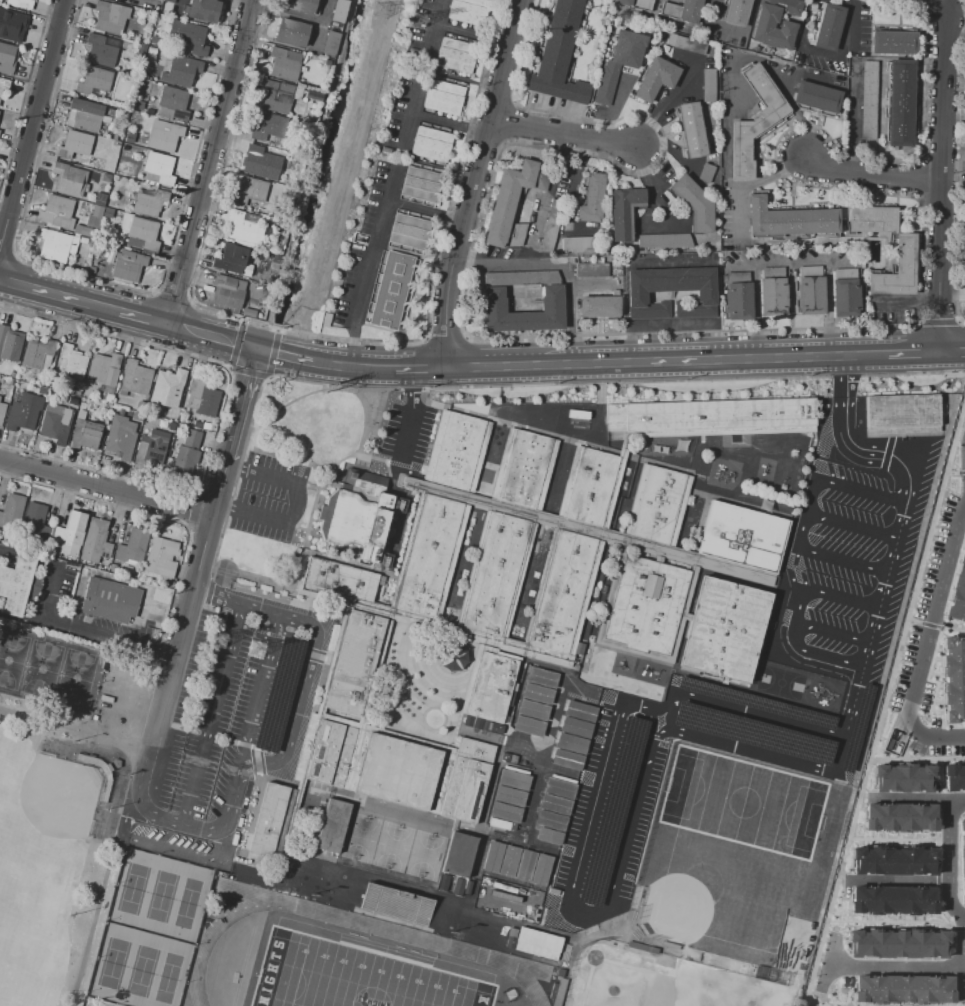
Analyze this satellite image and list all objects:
road: (929, 0)
road: (153, 1)
building: (168, 1)
road: (181, 1)
road: (934, 2)
building: (20, 4)
building: (635, 4)
building: (300, 5)
building: (791, 6)
building: (201, 10)
building: (340, 11)
power tower: (382, 11)
building: (468, 11)
building: (682, 11)
building: (736, 12)
road: (286, 15)
building: (110, 17)
power tower: (419, 21)
road: (320, 25)
building: (12, 26)
building: (827, 26)
building: (772, 28)
road: (729, 30)
road: (431, 31)
building: (290, 33)
road: (471, 33)
building: (189, 36)
building: (893, 42)
building: (331, 43)
building: (686, 44)
road: (842, 49)
building: (100, 52)
building: (559, 55)
building: (456, 56)
road: (734, 56)
building: (6, 57)
building: (619, 62)
building: (284, 64)
building: (181, 71)
building: (655, 78)
building: (94, 81)
building: (4, 85)
building: (708, 85)
building: (276, 97)
building: (444, 97)
building: (817, 97)
building: (869, 100)
building: (174, 102)
building: (900, 102)
building: (138, 105)
road: (669, 106)
road: (615, 107)
building: (86, 115)
road: (411, 115)
road: (449, 122)
building: (754, 122)
road: (853, 122)
road: (31, 125)
building: (269, 127)
building: (691, 129)
road: (562, 132)
building: (164, 136)
building: (431, 144)
building: (73, 145)
road: (669, 149)
building: (266, 159)
road: (210, 163)
building: (160, 168)
building: (707, 173)
road: (872, 175)
building: (68, 179)
road: (940, 179)
road: (647, 180)
road: (473, 182)
building: (420, 183)
road: (748, 184)
building: (250, 190)
road: (549, 194)
building: (512, 197)
building: (99, 199)
building: (592, 199)
building: (148, 203)
building: (694, 204)
road: (425, 210)
building: (97, 211)
building: (59, 212)
building: (623, 212)
road: (568, 216)
building: (116, 218)
building: (790, 219)
building: (872, 220)
building: (550, 225)
building: (245, 227)
building: (85, 231)
building: (408, 231)
building: (144, 234)
building: (517, 235)
building: (83, 240)
building: (664, 240)
building: (576, 244)
building: (54, 245)
road: (398, 250)
building: (232, 260)
road: (489, 261)
road: (792, 262)
road: (368, 265)
building: (128, 266)
building: (897, 270)
building: (592, 271)
building: (521, 278)
road: (591, 287)
building: (809, 289)
road: (41, 290)
building: (390, 290)
building: (772, 290)
building: (845, 291)
building: (230, 292)
road: (570, 293)
road: (411, 295)
building: (738, 295)
building: (637, 296)
road: (429, 297)
building: (551, 299)
road: (903, 304)
building: (599, 306)
road: (100, 308)
road: (828, 309)
road: (755, 310)
road: (143, 320)
road: (242, 320)
road: (260, 322)
road: (378, 327)
road: (277, 330)
road: (210, 339)
building: (10, 344)
road: (235, 344)
road: (950, 351)
building: (38, 353)
road: (272, 353)
road: (909, 353)
road: (282, 356)
road: (712, 359)
building: (69, 363)
road: (330, 365)
road: (492, 366)
road: (227, 367)
building: (104, 368)
road: (372, 368)
road: (420, 368)
road: (948, 368)
road: (248, 371)
building: (12, 374)
road: (267, 376)
building: (136, 378)
building: (167, 388)
road: (324, 389)
road: (854, 395)
road: (840, 396)
building: (62, 398)
building: (108, 398)
building: (201, 398)
road: (238, 407)
building: (2, 411)
building: (23, 412)
building: (708, 416)
building: (902, 416)
road: (375, 420)
track: (579, 421)
park: (315, 422)
road: (411, 422)
building: (55, 423)
road: (368, 428)
building: (84, 434)
road: (240, 435)
building: (121, 437)
building: (151, 447)
building: (185, 451)
building: (453, 451)
road: (883, 453)
building: (528, 471)
road: (962, 471)
road: (298, 473)
road: (951, 473)
road: (105, 488)
building: (588, 489)
road: (860, 491)
road: (907, 494)
road: (293, 504)
building: (656, 504)
building: (12, 511)
road: (804, 513)
building: (37, 521)
building: (355, 523)
road: (851, 525)
building: (69, 534)
building: (741, 536)
building: (96, 544)
building: (132, 546)
building: (160, 559)
building: (431, 559)
road: (843, 560)
building: (112, 568)
building: (499, 574)
road: (52, 582)
building: (341, 582)
building: (171, 584)
building: (16, 585)
building: (957, 589)
building: (564, 595)
road: (842, 597)
building: (110, 600)
building: (645, 607)
road: (877, 620)
road: (912, 620)
road: (930, 625)
building: (721, 632)
road: (833, 632)
power tower: (223, 635)
road: (109, 636)
road: (179, 638)
road: (928, 643)
road: (934, 647)
building: (579, 648)
road: (801, 648)
power tower: (255, 650)
park: (29, 665)
building: (542, 677)
building: (953, 678)
park: (779, 682)
road: (263, 687)
building: (493, 687)
building: (537, 693)
road: (83, 696)
road: (881, 698)
parking lot: (107, 701)
building: (533, 710)
building: (579, 710)
road: (750, 710)
road: (212, 713)
road: (662, 713)
road: (935, 716)
building: (468, 721)
building: (477, 723)
road: (295, 725)
building: (485, 725)
building: (528, 725)
building: (575, 726)
building: (855, 727)
building: (497, 728)
road: (76, 732)
building: (752, 733)
building: (384, 739)
building: (893, 742)
building: (571, 743)
road: (767, 752)
building: (505, 757)
building: (566, 758)
road: (915, 758)
building: (953, 775)
building: (900, 777)
building: (513, 780)
road: (617, 784)
building: (559, 788)
road: (595, 789)
building: (508, 796)
road: (907, 796)
road: (956, 797)
park: (742, 802)
park: (60, 804)
building: (555, 804)
road: (951, 809)
building: (611, 811)
building: (504, 812)
building: (899, 816)
road: (125, 818)
building: (551, 820)
park: (45, 822)
building: (274, 822)
building: (332, 824)
building: (501, 824)
road: (626, 831)
building: (550, 836)
park: (361, 838)
road: (891, 839)
road: (938, 840)
park: (393, 847)
building: (457, 854)
road: (189, 855)
park: (425, 855)
building: (492, 856)
building: (960, 857)
building: (893, 858)
park: (43, 860)
building: (508, 860)
building: (524, 865)
building: (540, 869)
road: (888, 878)
park: (720, 880)
road: (938, 882)
building: (444, 883)
road: (947, 885)
building: (457, 887)
building: (466, 888)
track: (255, 894)
building: (893, 900)
building: (396, 904)
road: (941, 911)
road: (889, 921)
road: (98, 925)
road: (959, 929)
park: (149, 931)
building: (512, 932)
building: (590, 932)
building: (900, 943)
building: (537, 944)
building: (792, 945)
building: (567, 947)
park: (28, 952)
stadium: (345, 960)
road: (831, 962)
road: (898, 964)
track: (342, 965)
track: (242, 966)
track: (523, 967)
park: (360, 973)
park: (353, 977)
park: (662, 980)
building: (903, 990)
building: (560, 991)

